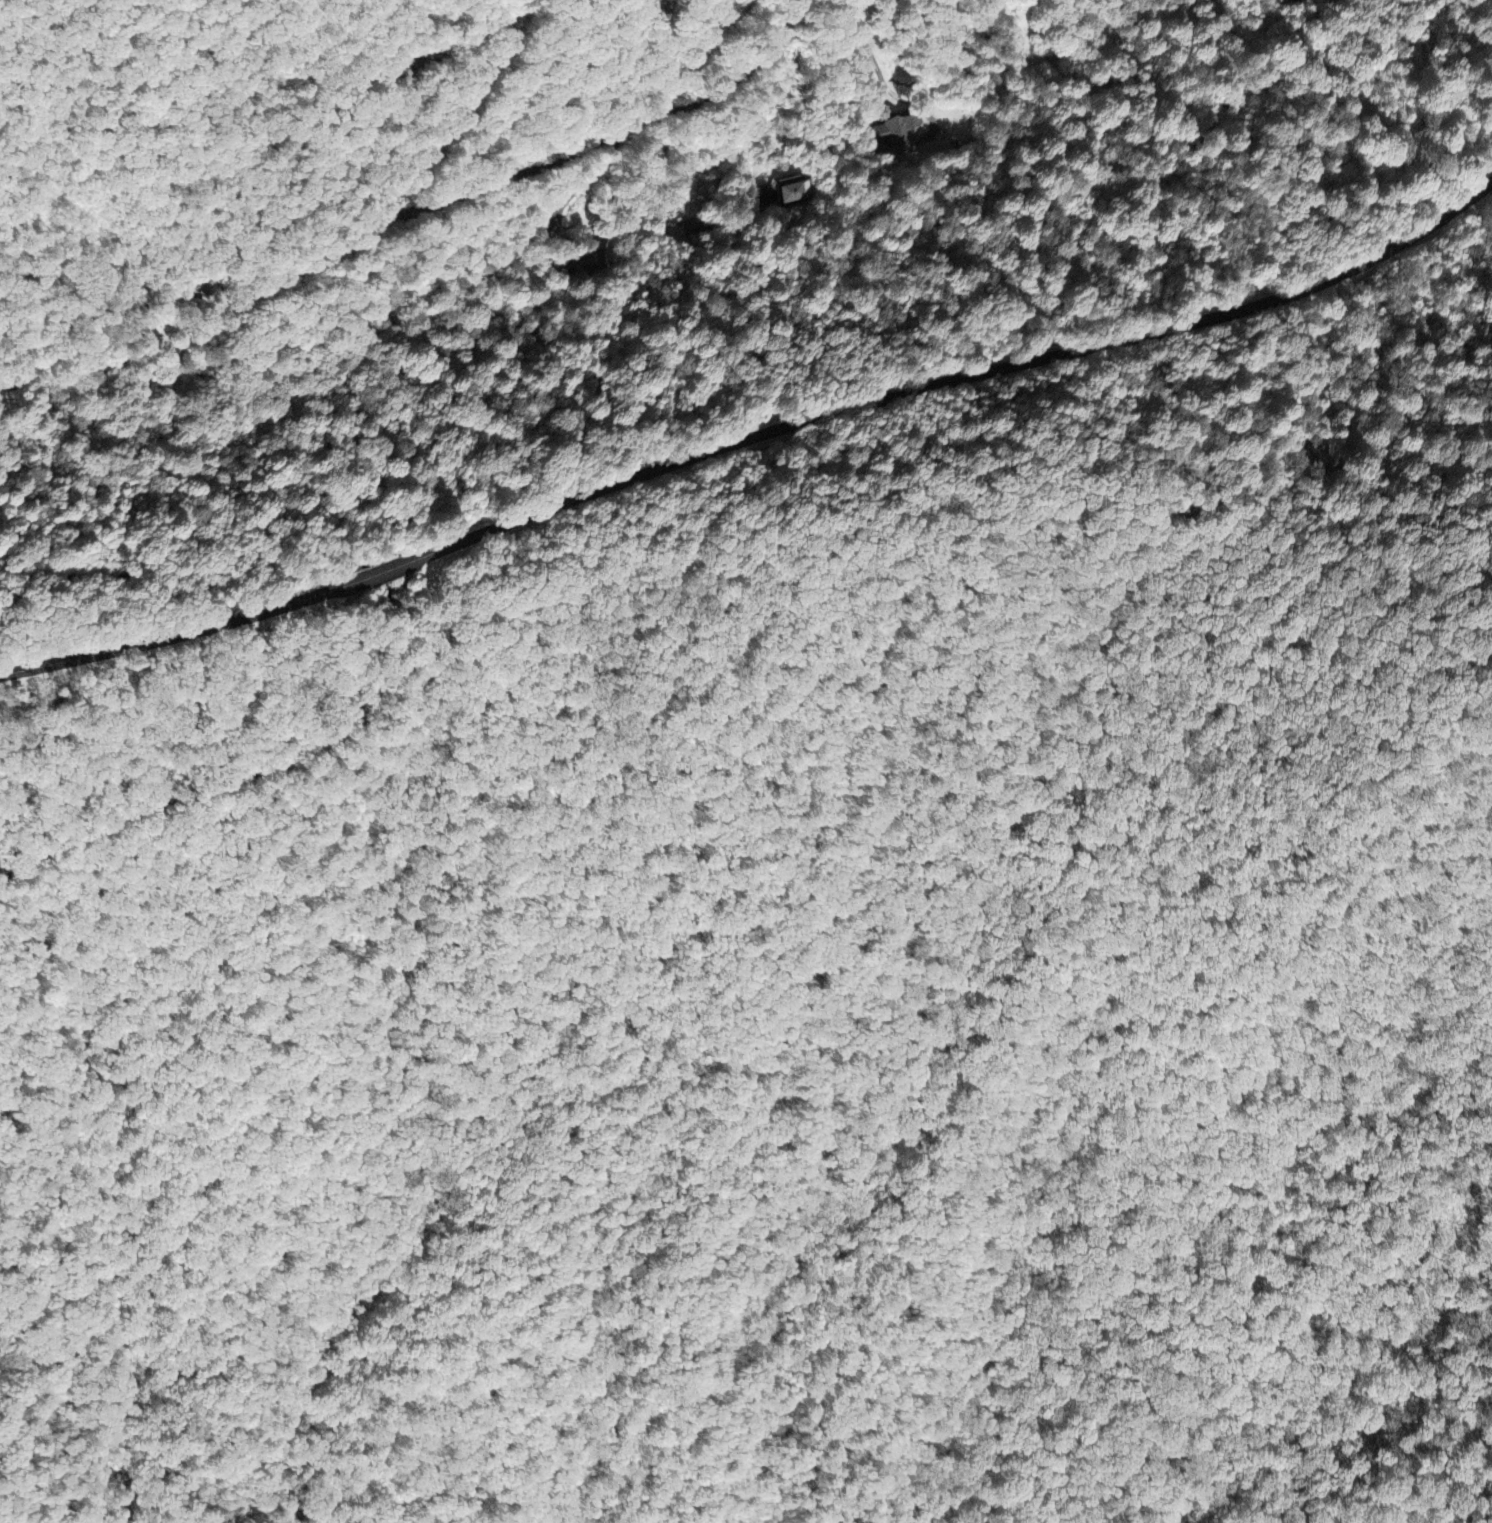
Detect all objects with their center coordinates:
road: (454, 118)
building: (896, 133)
road: (613, 135)
building: (791, 194)
road: (951, 381)
road: (234, 563)
road: (376, 574)
road: (177, 634)
road: (1034, 640)
road: (213, 785)

